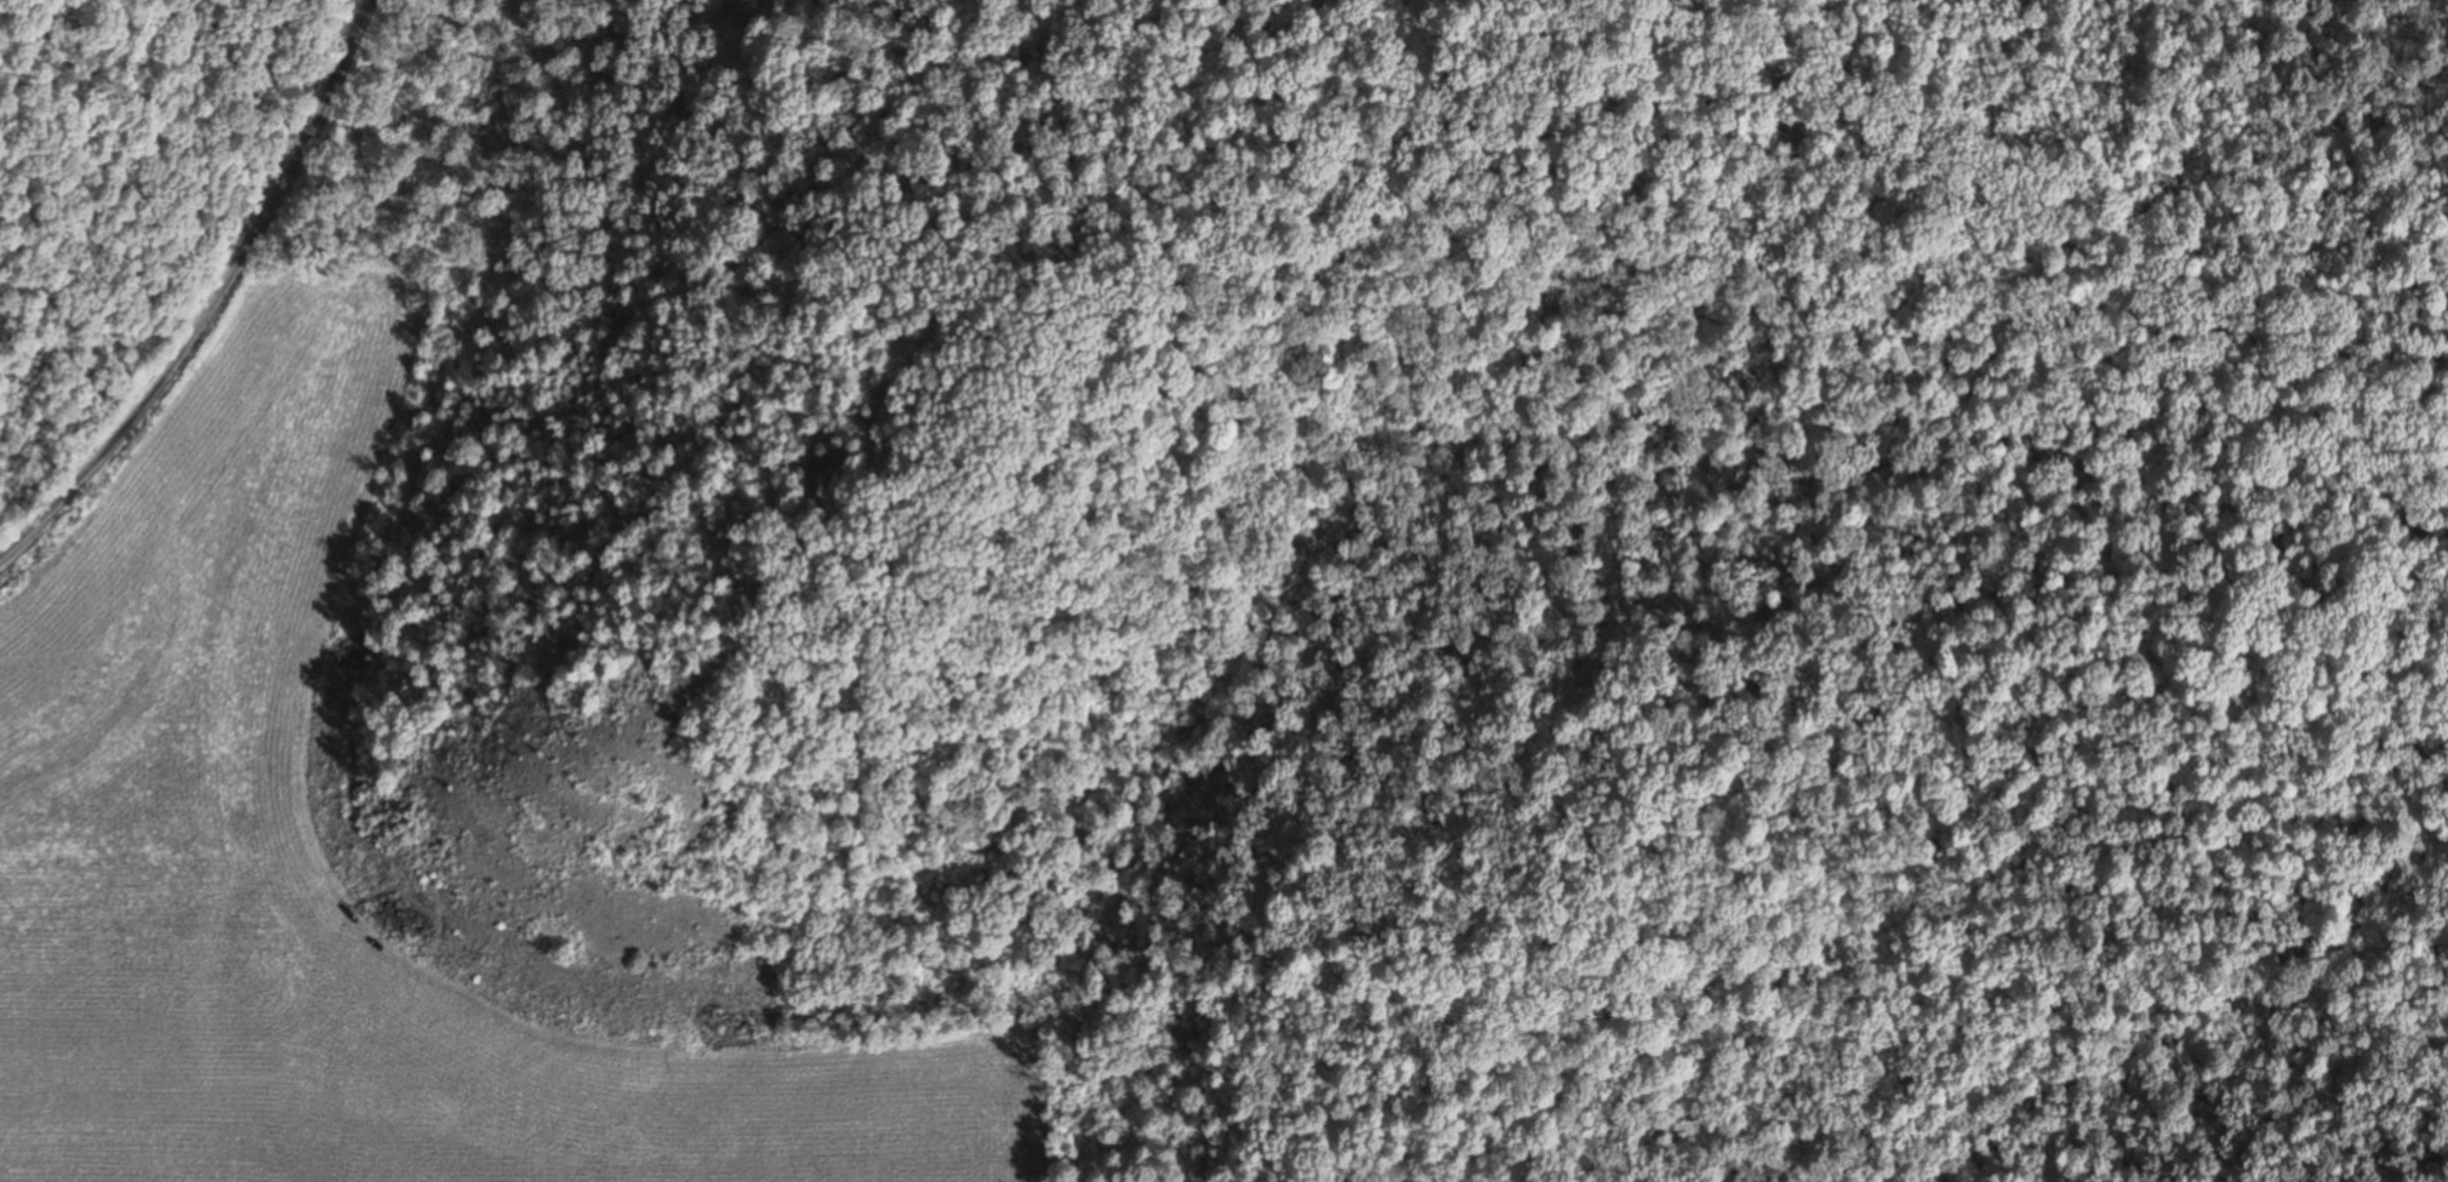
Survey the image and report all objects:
road: (217, 297)

